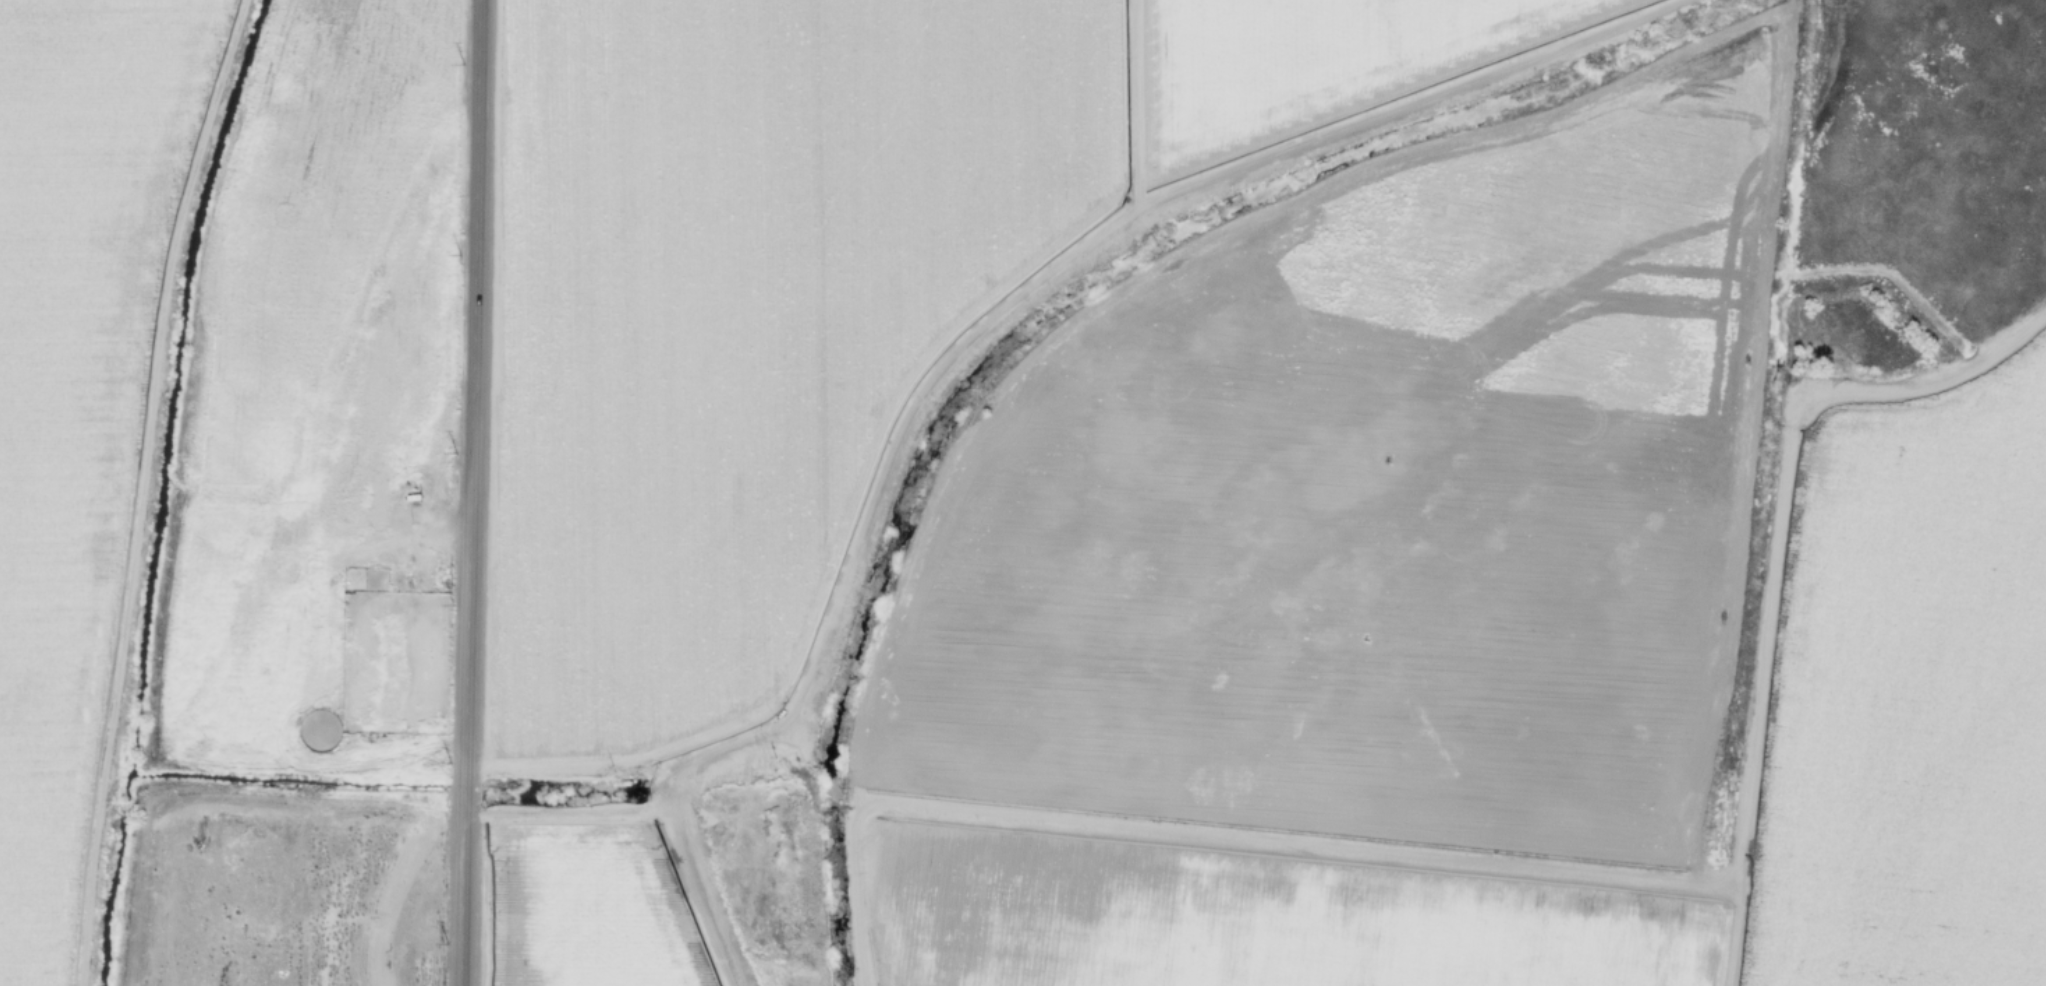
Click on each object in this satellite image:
road: (196, 1)
road: (1132, 111)
road: (973, 331)
road: (140, 489)
road: (470, 492)
building: (417, 510)
road: (1776, 560)
road: (401, 696)
road: (564, 812)
road: (1207, 834)

